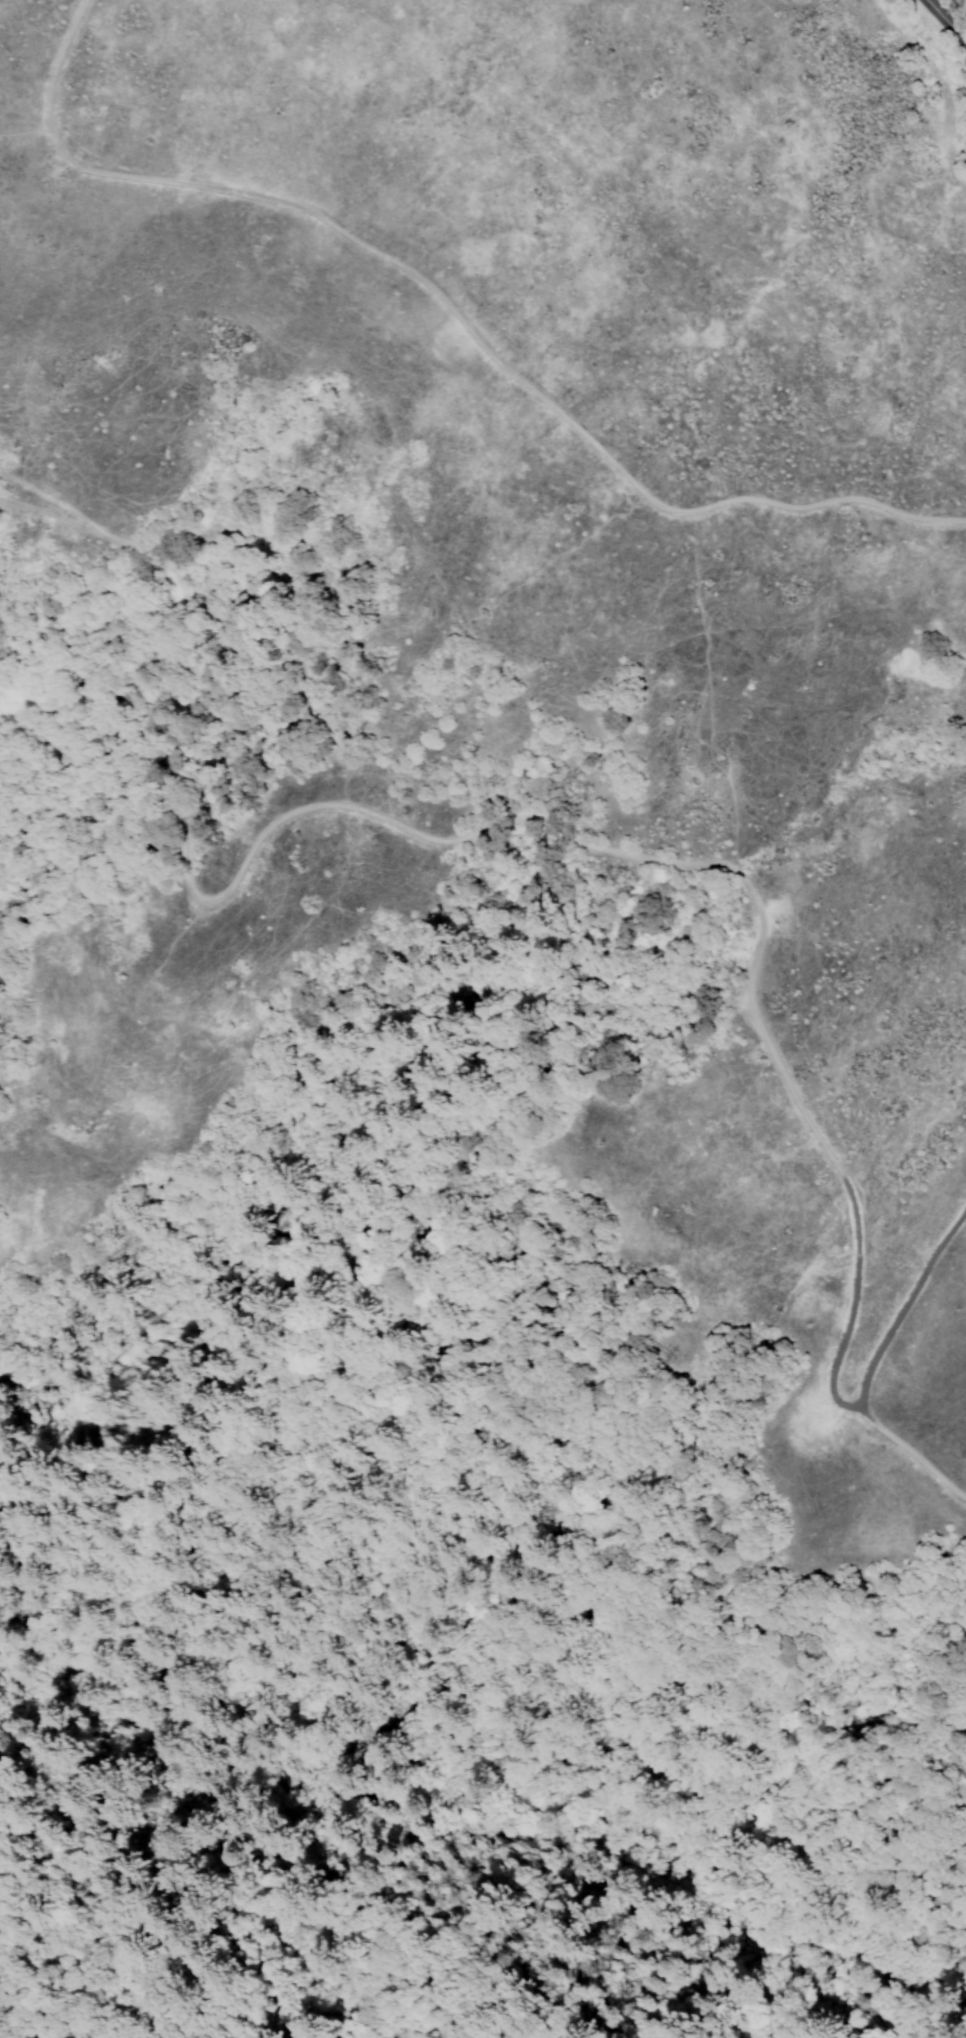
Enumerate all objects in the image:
road: (945, 21)
road: (453, 310)
road: (61, 503)
road: (41, 513)
road: (519, 808)
road: (872, 1366)

